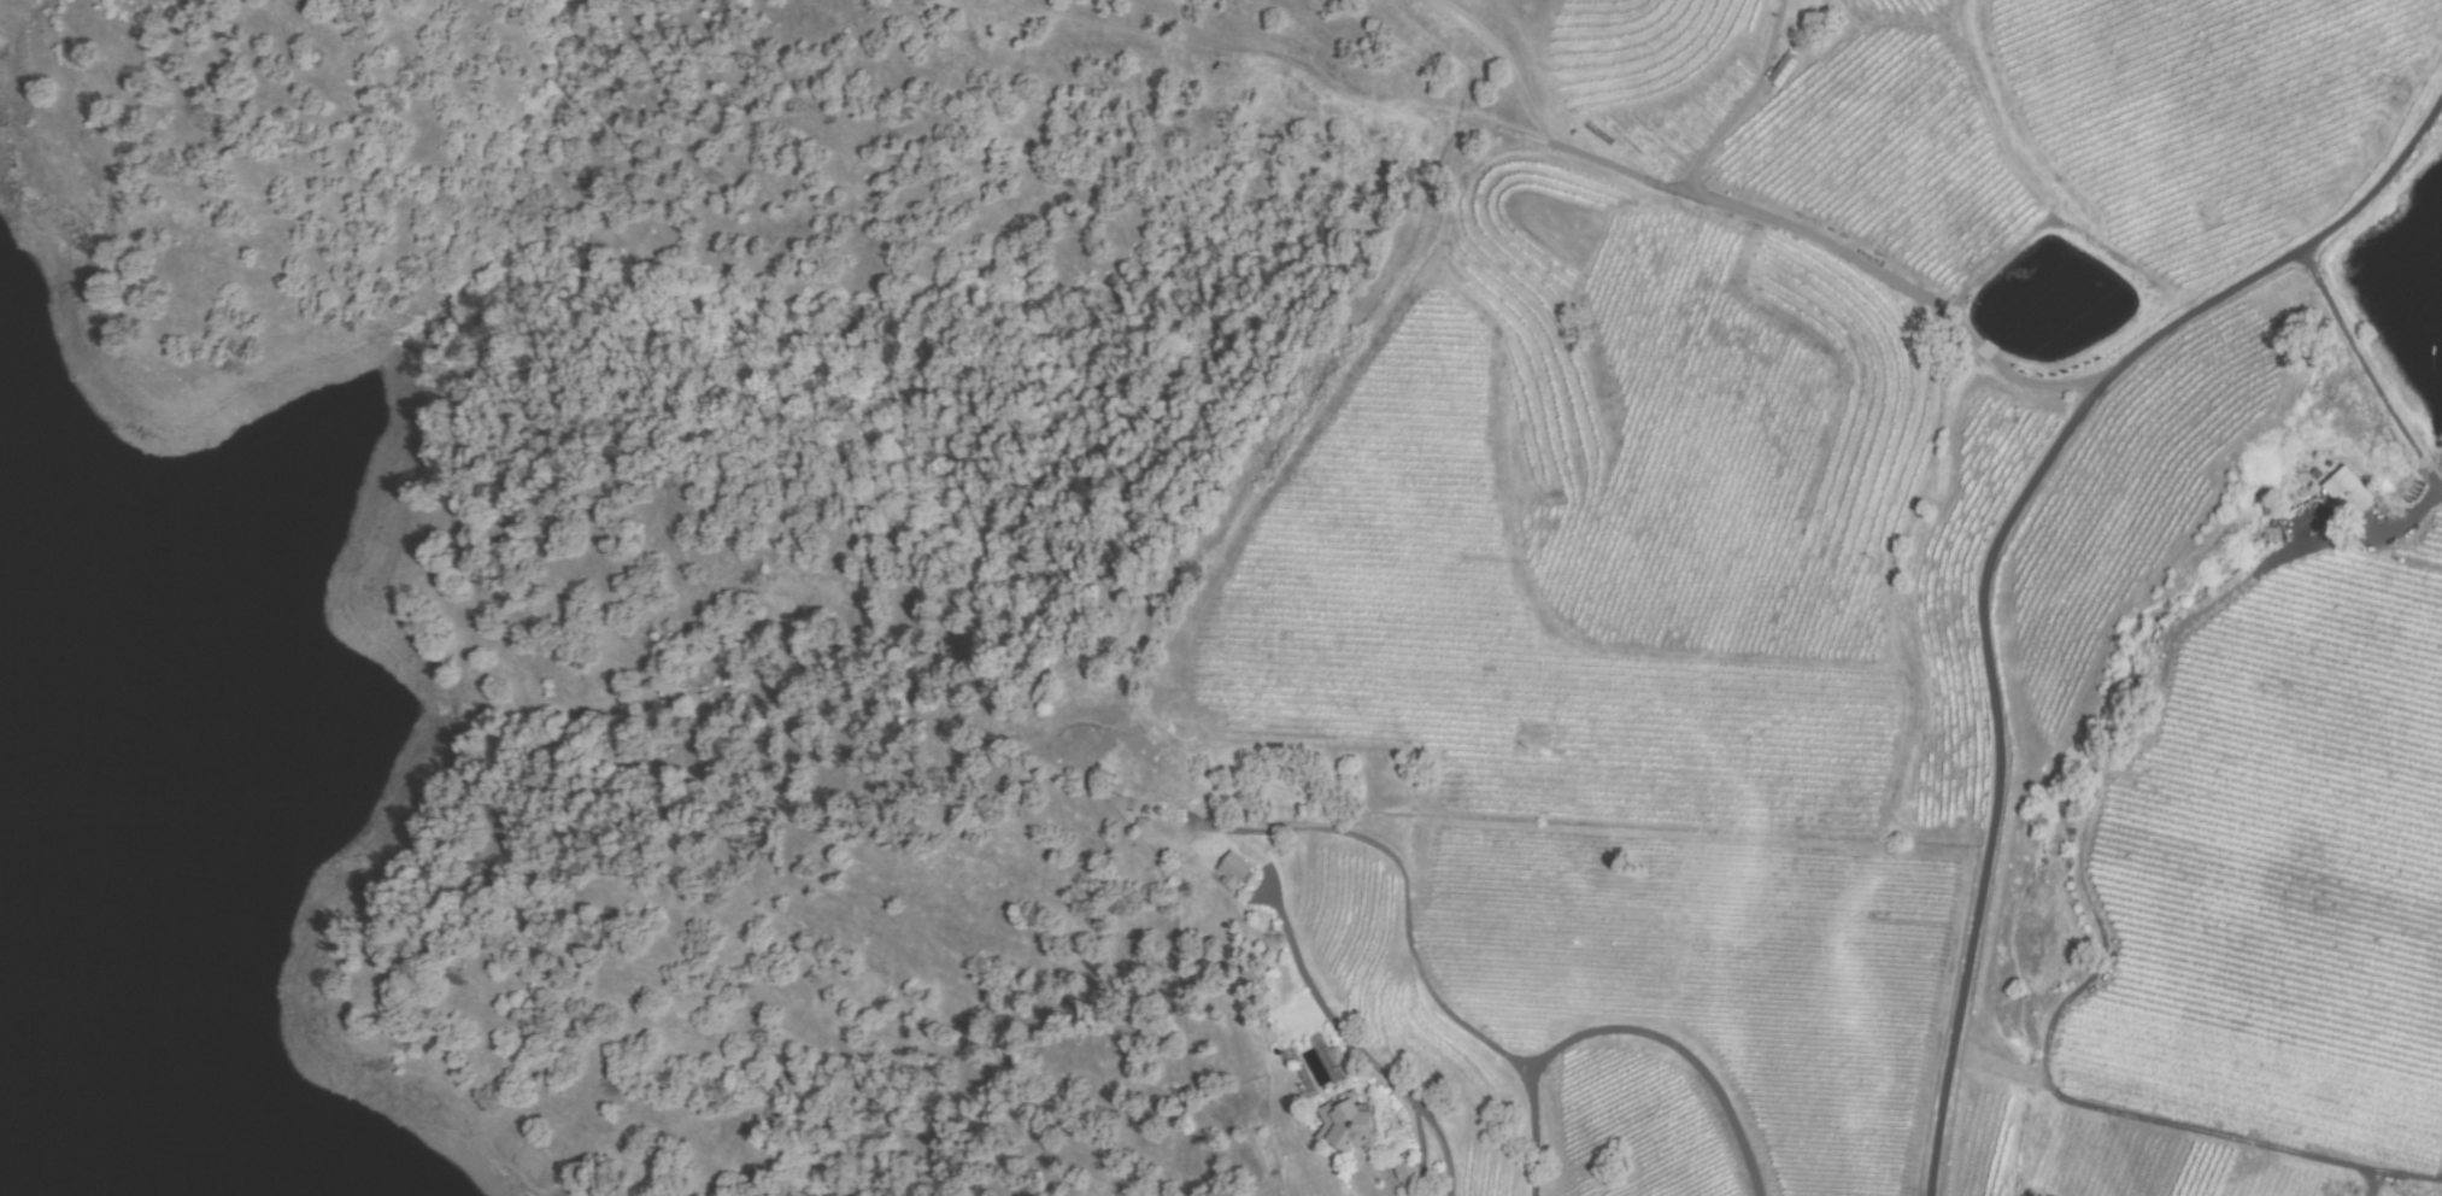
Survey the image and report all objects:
building: (1783, 71)
road: (2391, 412)
building: (2348, 492)
road: (1990, 553)
building: (1147, 810)
building: (1158, 811)
building: (1144, 825)
building: (1117, 826)
building: (1234, 869)
building: (1209, 870)
building: (1308, 1061)
building: (1333, 1101)
building: (1387, 1171)
building: (1408, 1171)

